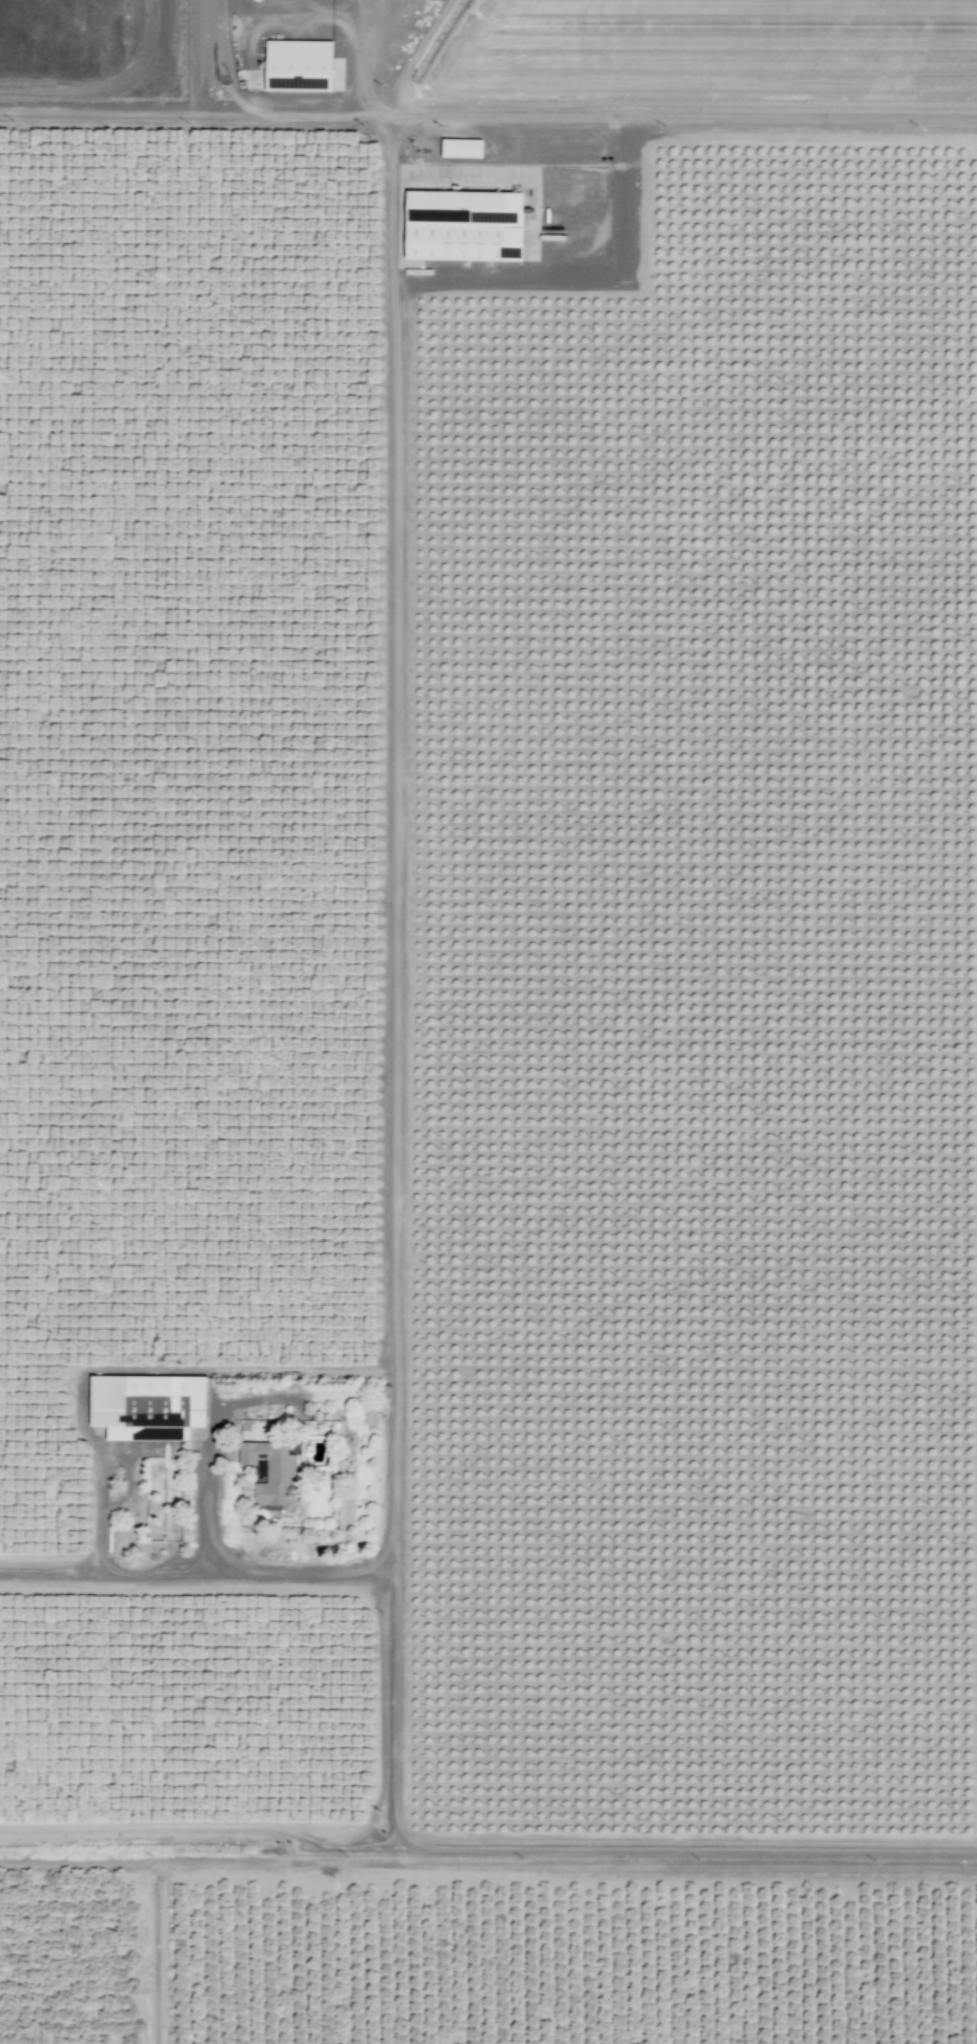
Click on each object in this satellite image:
quarry: (90, 49)
crop: (710, 51)
road: (488, 113)
building: (149, 1406)
building: (272, 1470)

